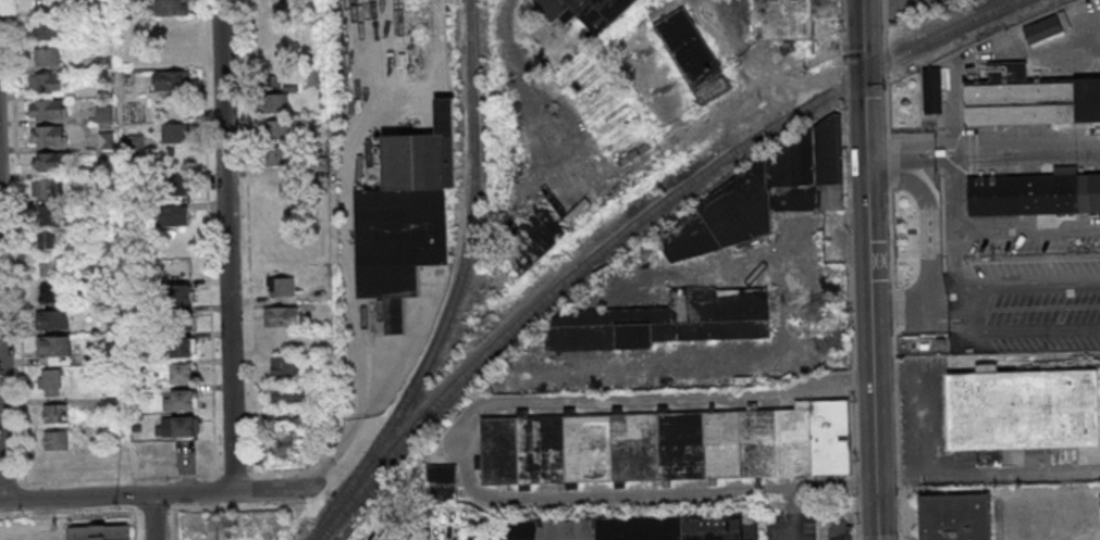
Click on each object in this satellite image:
road: (877, 4)
building: (172, 8)
building: (828, 11)
building: (588, 12)
building: (788, 21)
building: (49, 30)
building: (47, 56)
building: (694, 58)
building: (313, 77)
building: (172, 80)
building: (46, 83)
building: (1029, 101)
building: (276, 103)
building: (47, 109)
building: (104, 114)
building: (277, 129)
building: (175, 134)
building: (47, 136)
road: (1021, 153)
road: (904, 154)
building: (276, 155)
building: (423, 155)
building: (51, 161)
building: (178, 187)
building: (50, 188)
building: (764, 193)
building: (1036, 197)
building: (51, 215)
building: (175, 216)
railway: (633, 225)
building: (51, 241)
building: (399, 243)
road: (226, 246)
building: (530, 247)
building: (51, 267)
road: (354, 269)
road: (852, 269)
road: (868, 269)
railway: (457, 277)
building: (279, 287)
building: (52, 292)
building: (180, 294)
building: (282, 316)
building: (52, 319)
building: (666, 322)
road: (416, 336)
building: (181, 348)
building: (55, 349)
building: (285, 364)
building: (183, 374)
building: (49, 381)
building: (288, 395)
building: (182, 400)
building: (1023, 412)
building: (53, 413)
road: (2, 423)
building: (175, 426)
building: (55, 440)
building: (666, 444)
building: (443, 482)
road: (144, 495)
road: (152, 517)
building: (959, 520)
building: (682, 527)
building: (552, 529)
road: (795, 531)
building: (100, 532)

